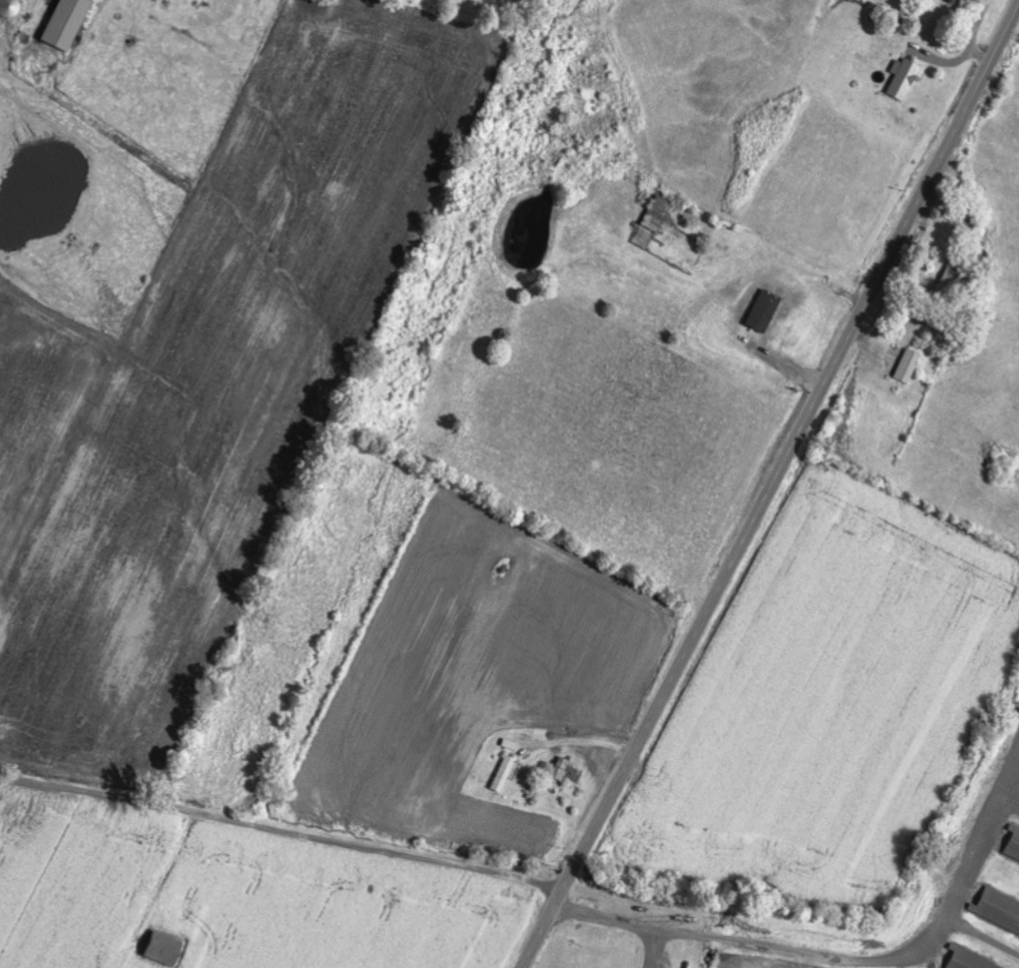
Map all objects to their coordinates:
building: (958, 0)
building: (10, 8)
building: (66, 23)
building: (904, 78)
building: (658, 213)
building: (765, 311)
building: (909, 366)
road: (771, 489)
building: (565, 771)
building: (504, 774)
road: (282, 831)
building: (1013, 850)
building: (163, 950)
building: (967, 961)

